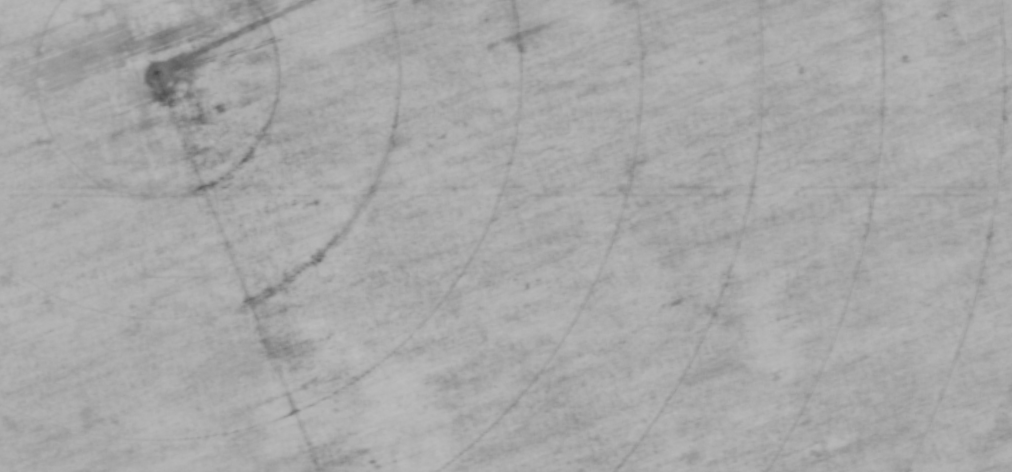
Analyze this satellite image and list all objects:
crop: (506, 236)

